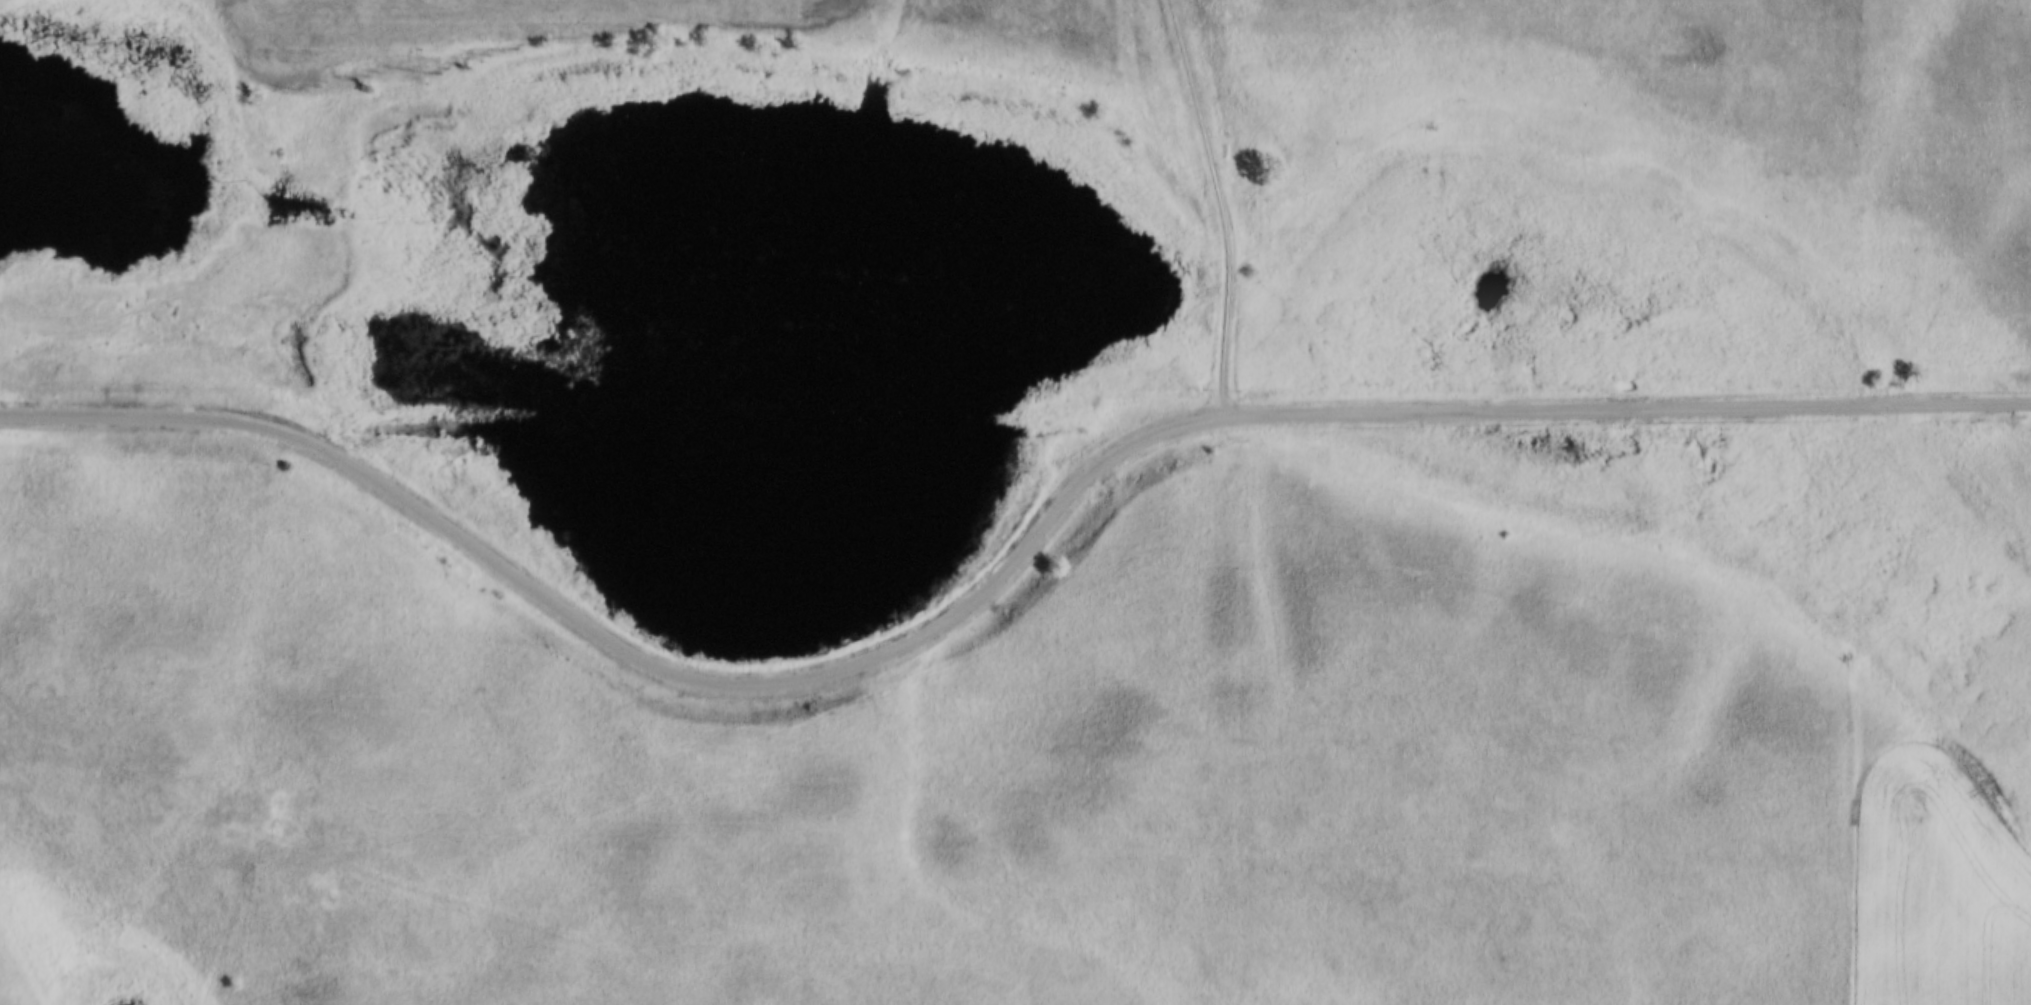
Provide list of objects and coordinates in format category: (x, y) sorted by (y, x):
road: (1223, 202)
road: (995, 573)

